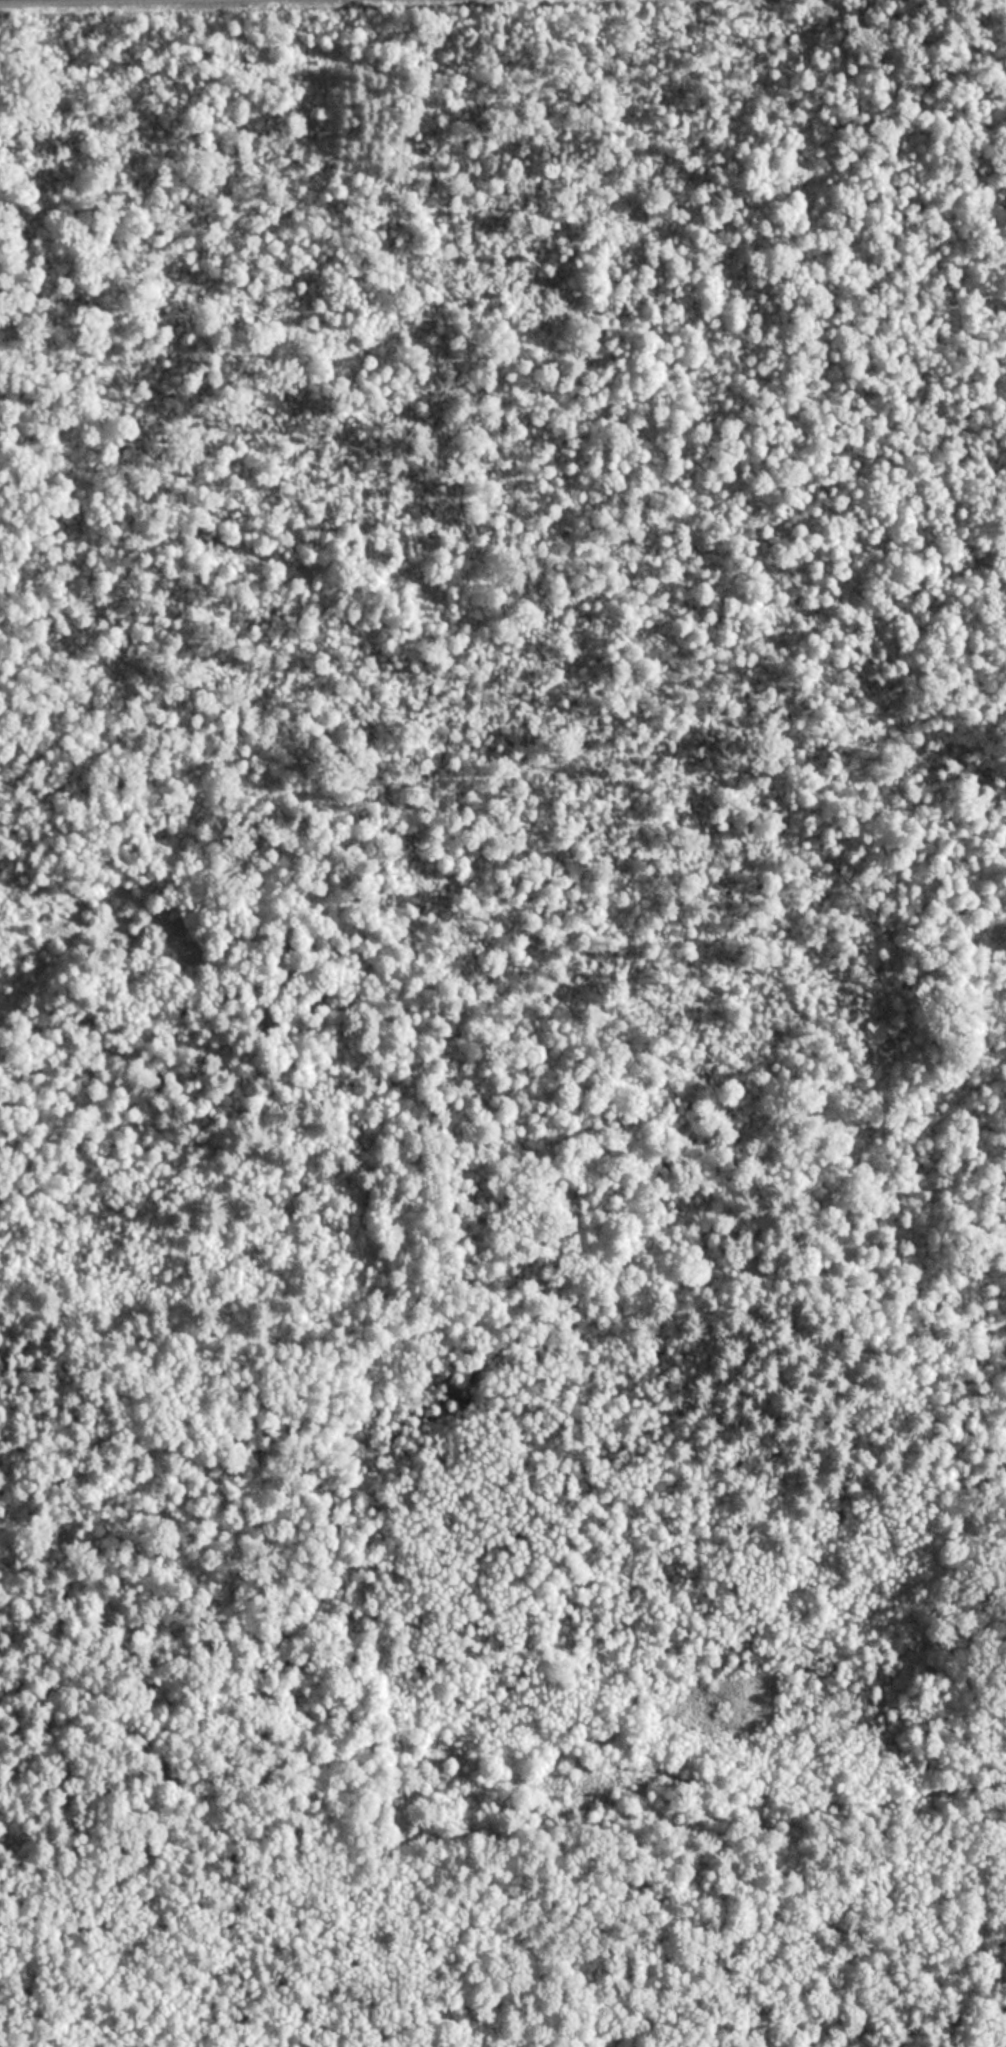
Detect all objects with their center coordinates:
park: (503, 1023)

